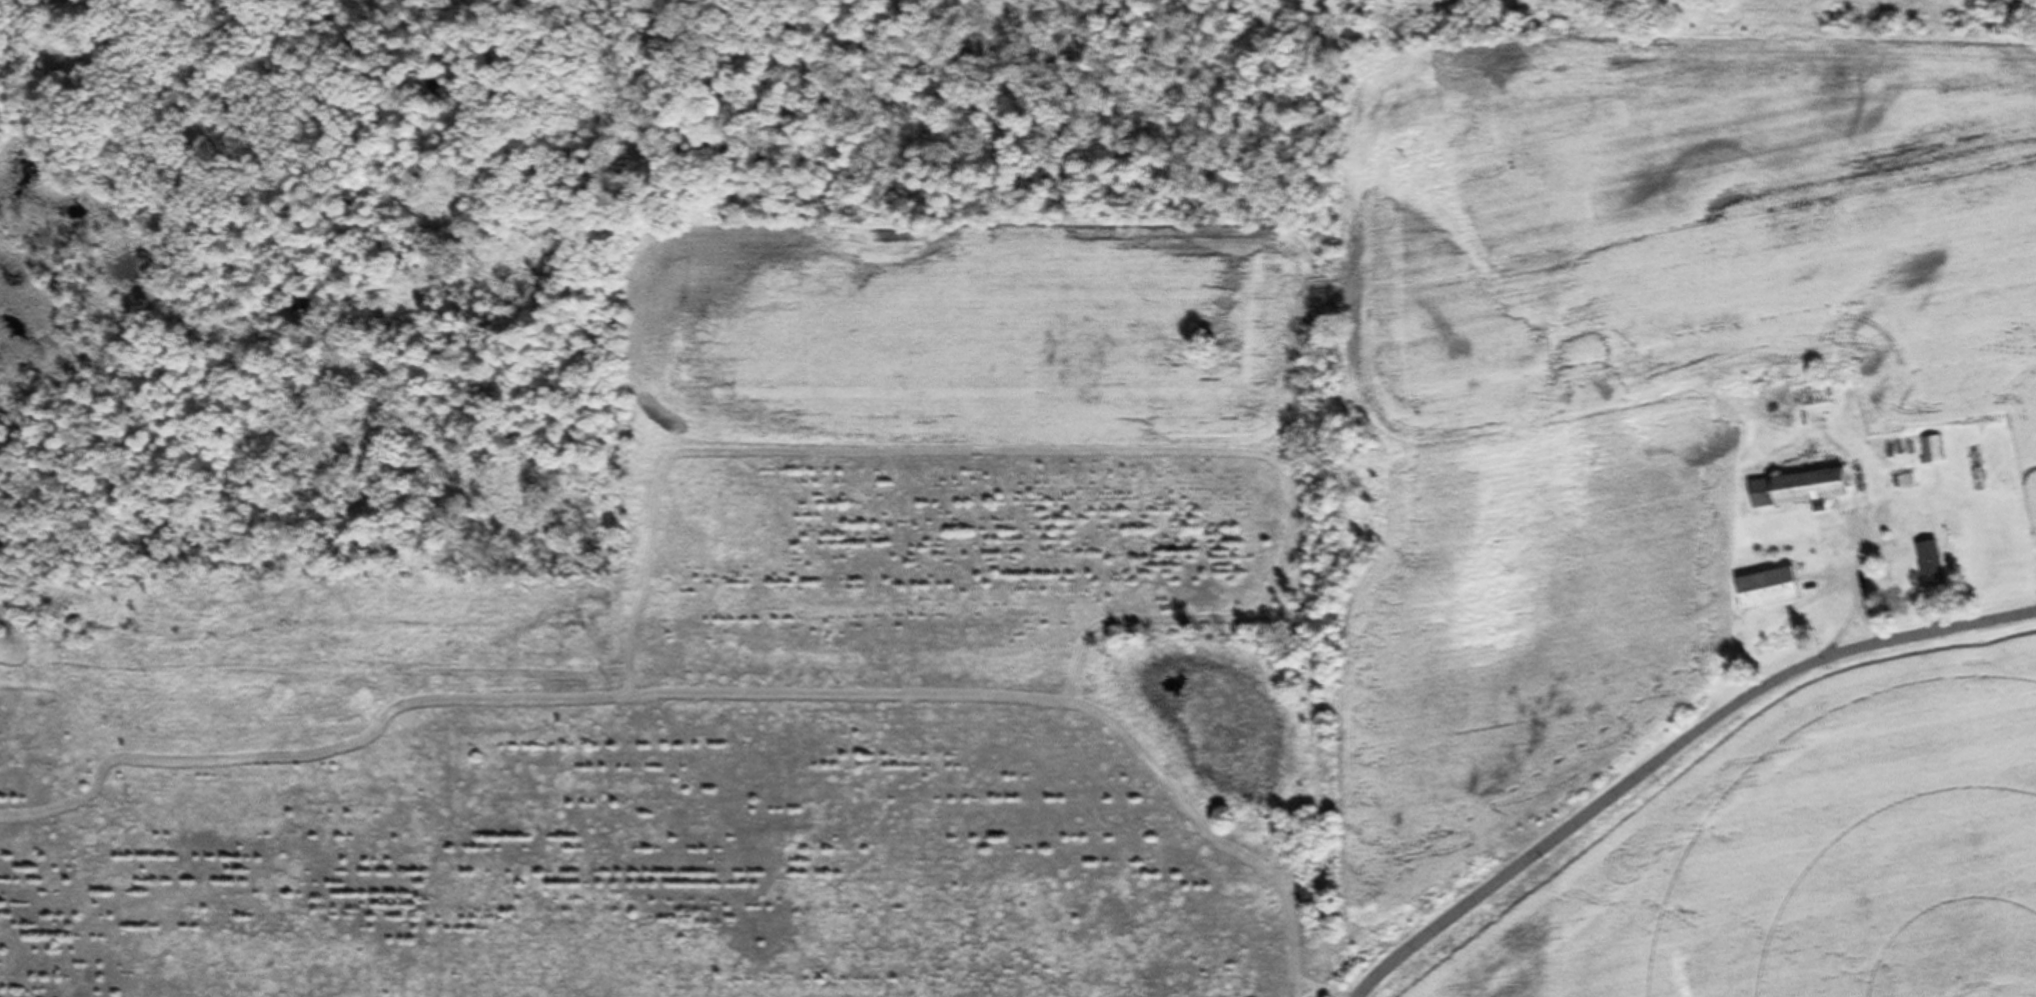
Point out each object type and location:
building: (1932, 457)
building: (1798, 495)
building: (1930, 572)
building: (1767, 597)
road: (1676, 764)

